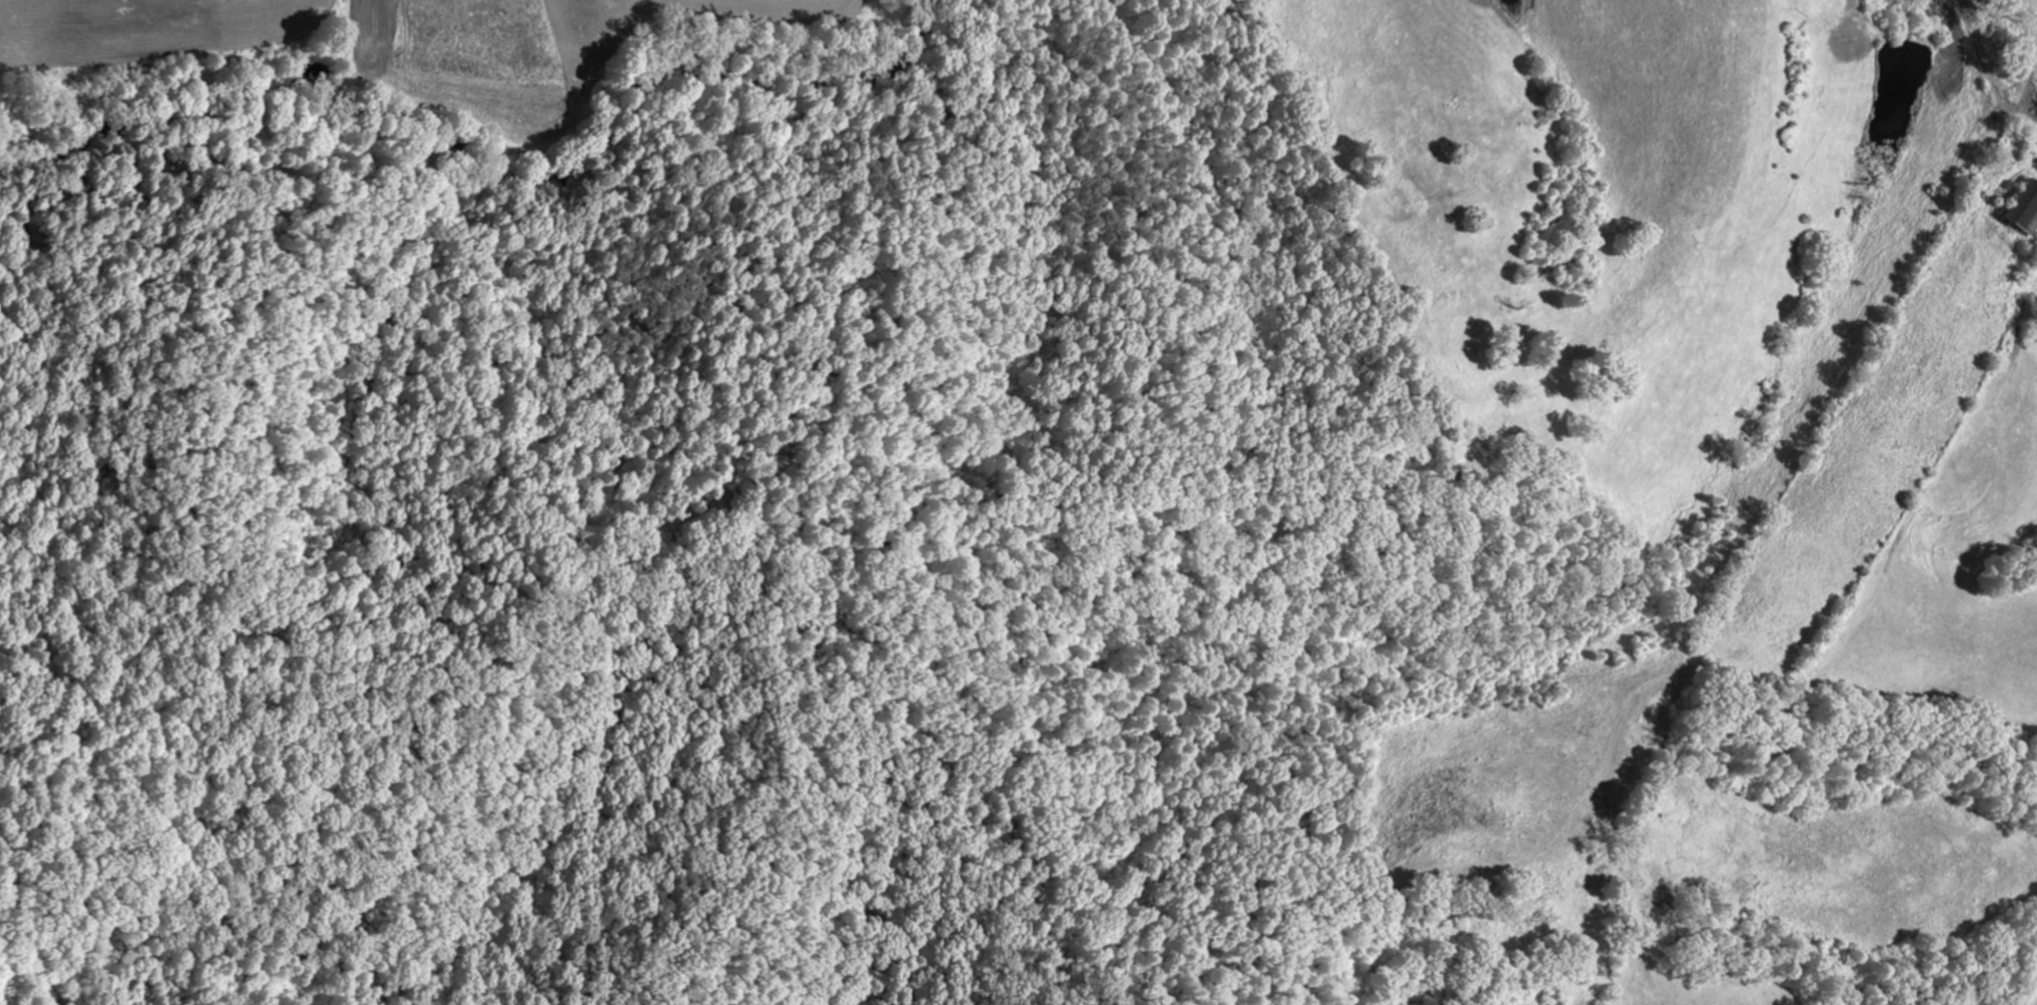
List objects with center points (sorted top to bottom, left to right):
building: (2022, 210)

